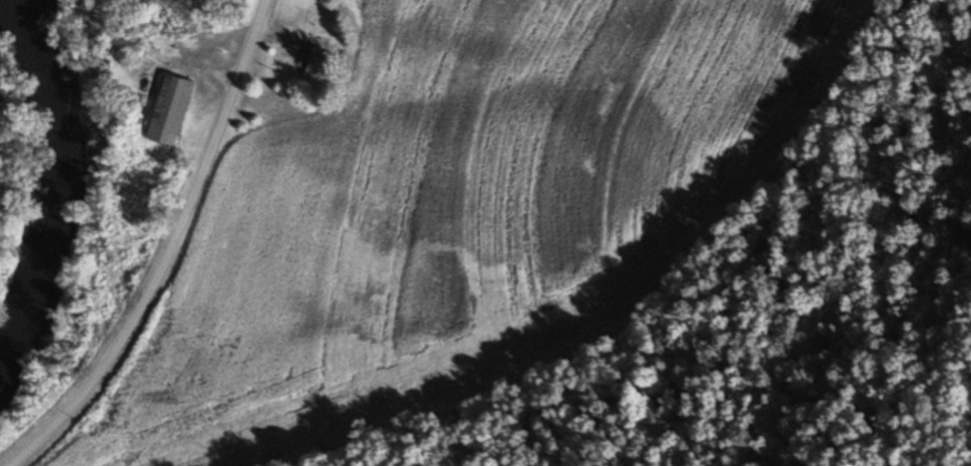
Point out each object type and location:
building: (317, 66)
building: (168, 110)
river: (62, 185)
road: (190, 256)

